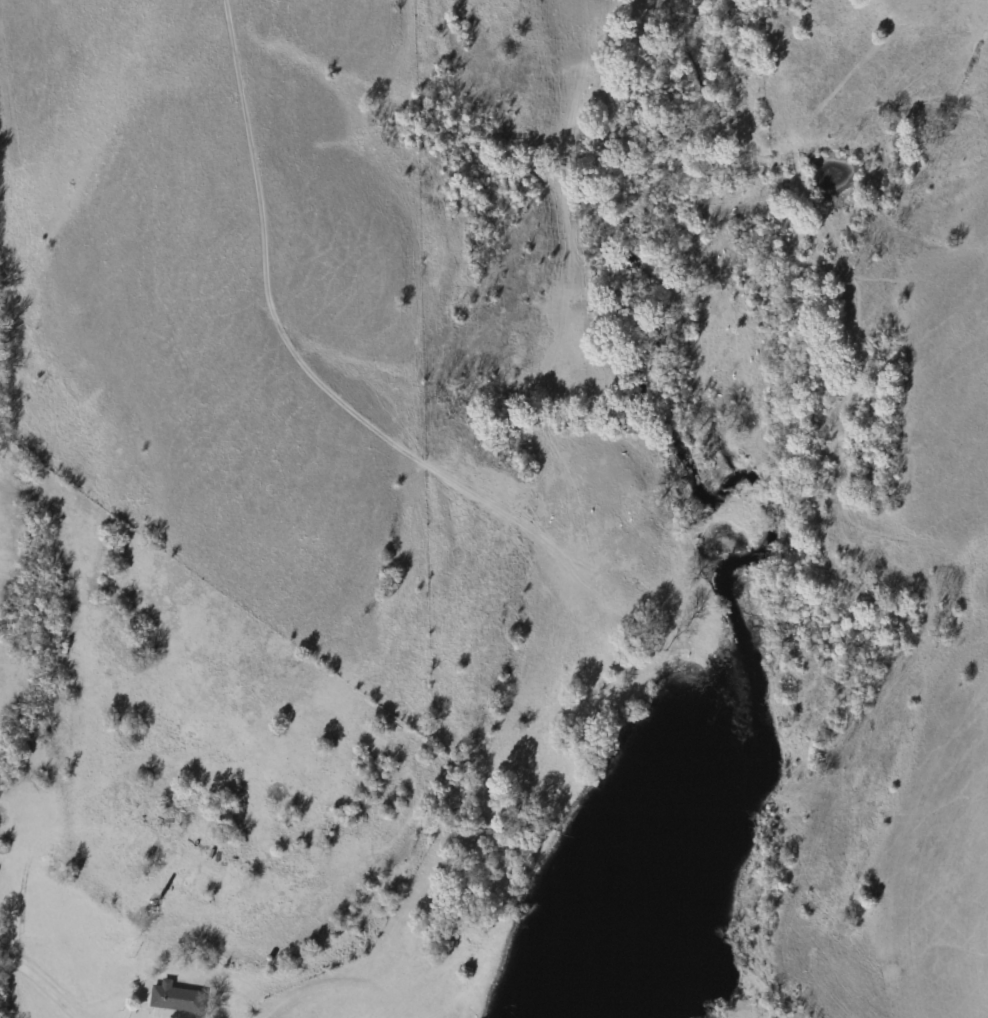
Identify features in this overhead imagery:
road: (37, 985)
building: (178, 997)

